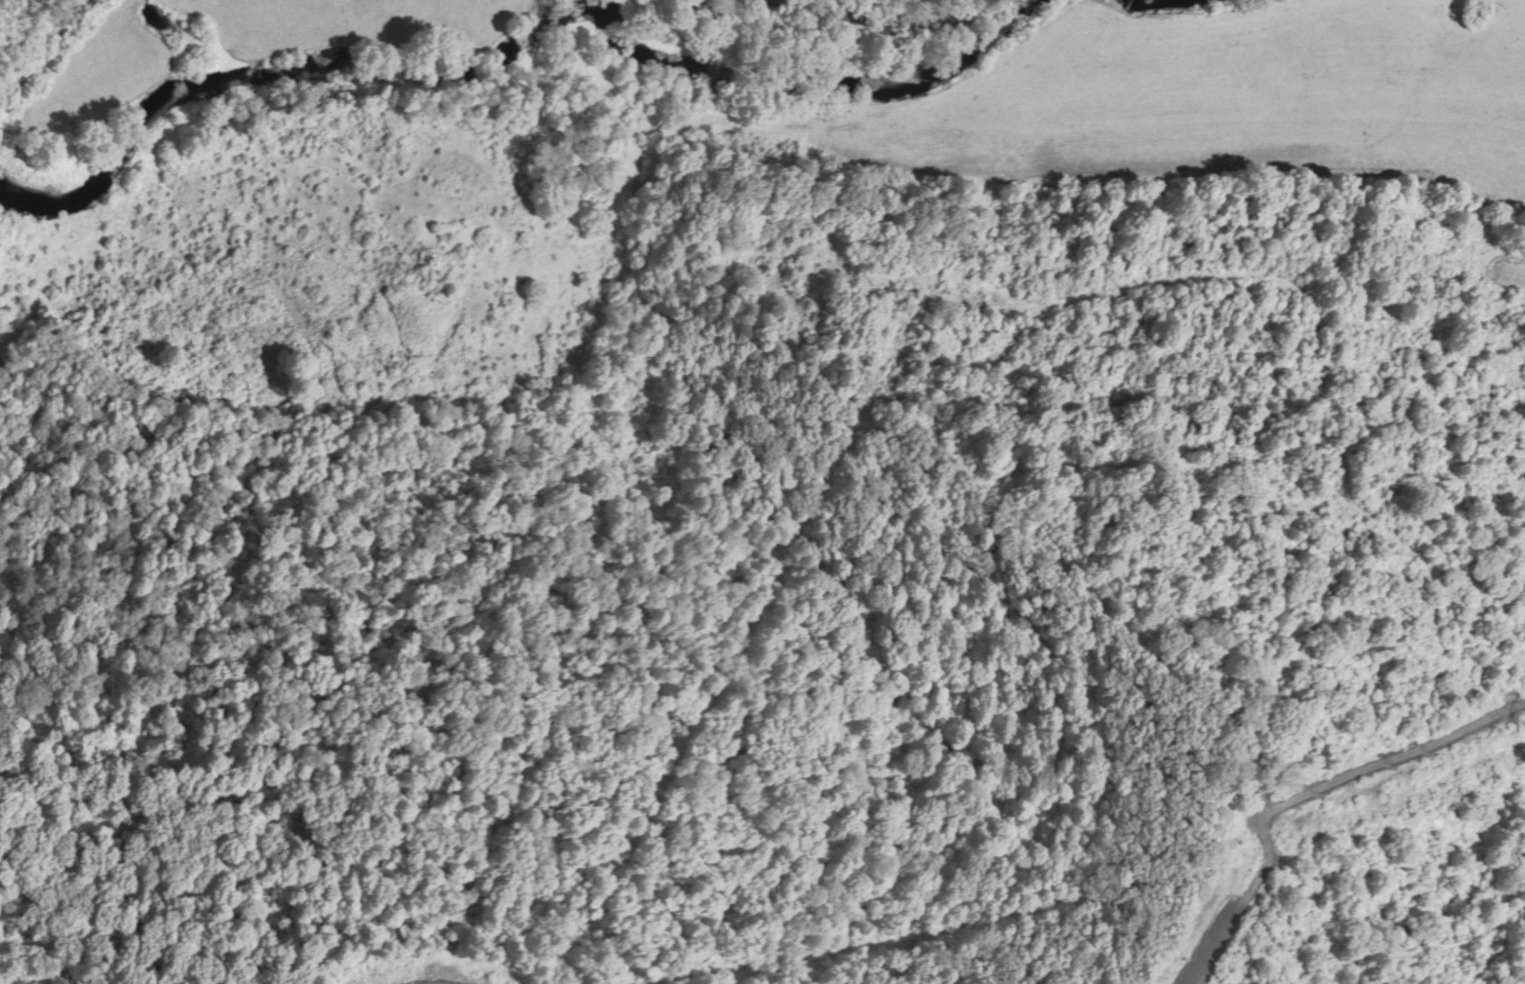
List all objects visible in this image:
road: (887, 14)
river: (992, 33)
road: (43, 48)

